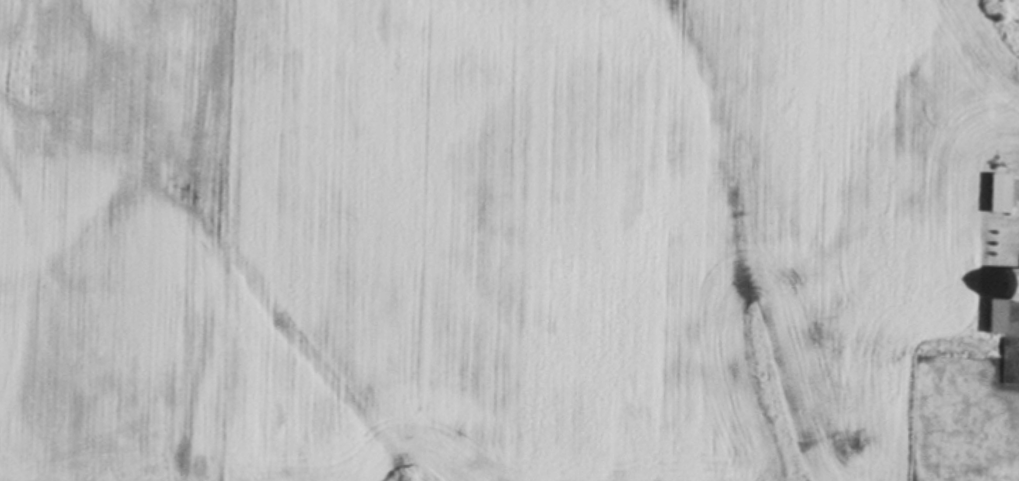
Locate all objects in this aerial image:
building: (995, 195)
building: (1000, 304)

